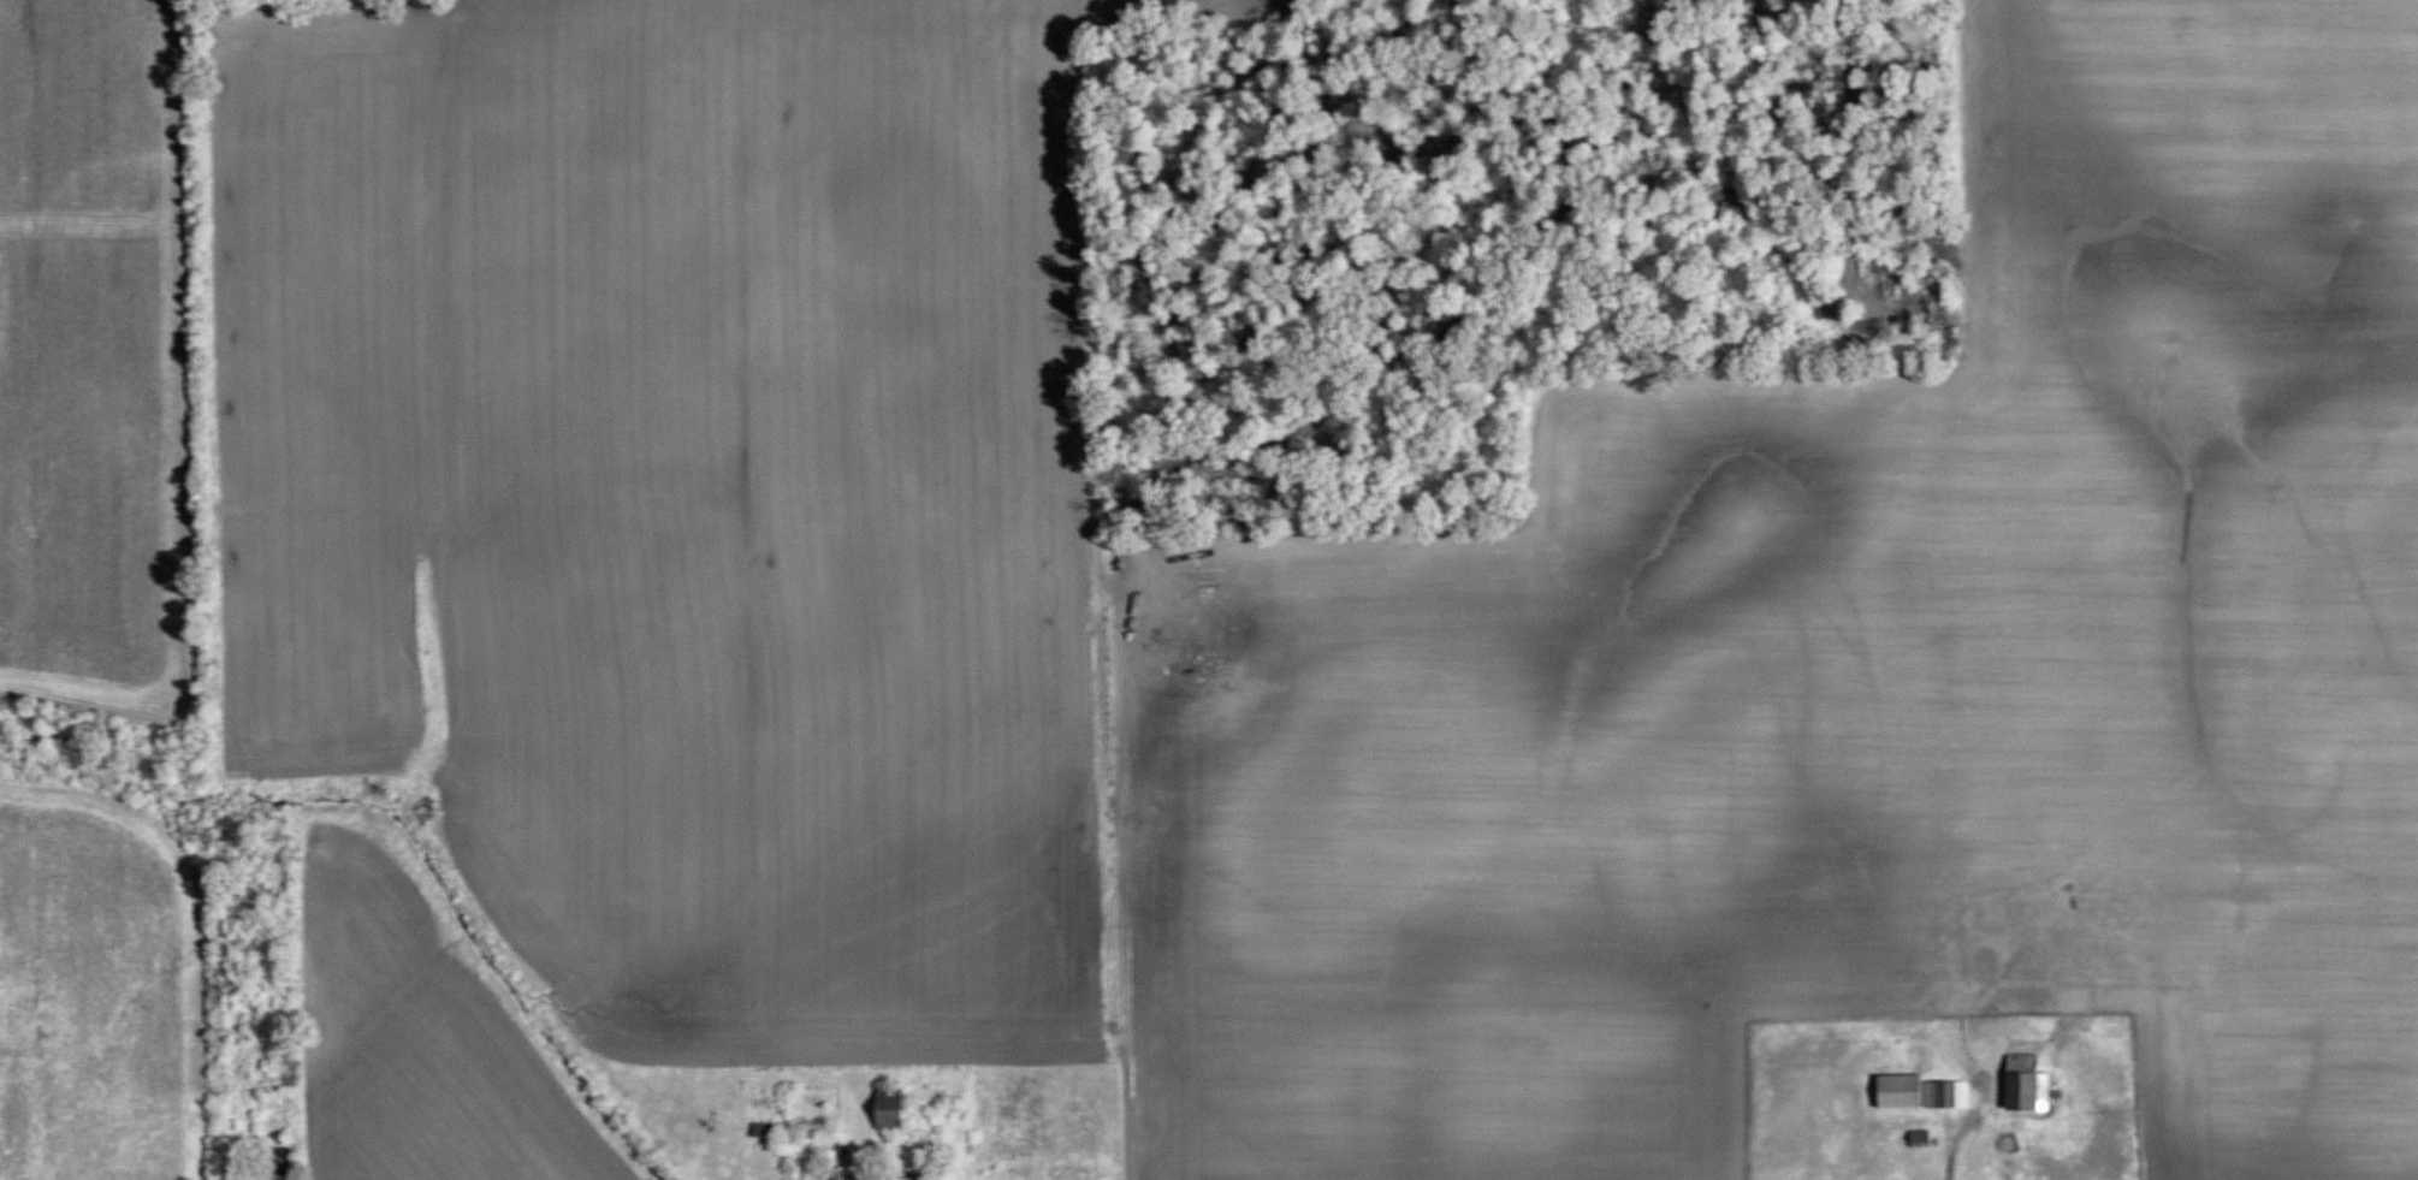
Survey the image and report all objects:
building: (2027, 1081)
building: (1922, 1090)
building: (891, 1105)
building: (283, 1157)
building: (832, 1173)

